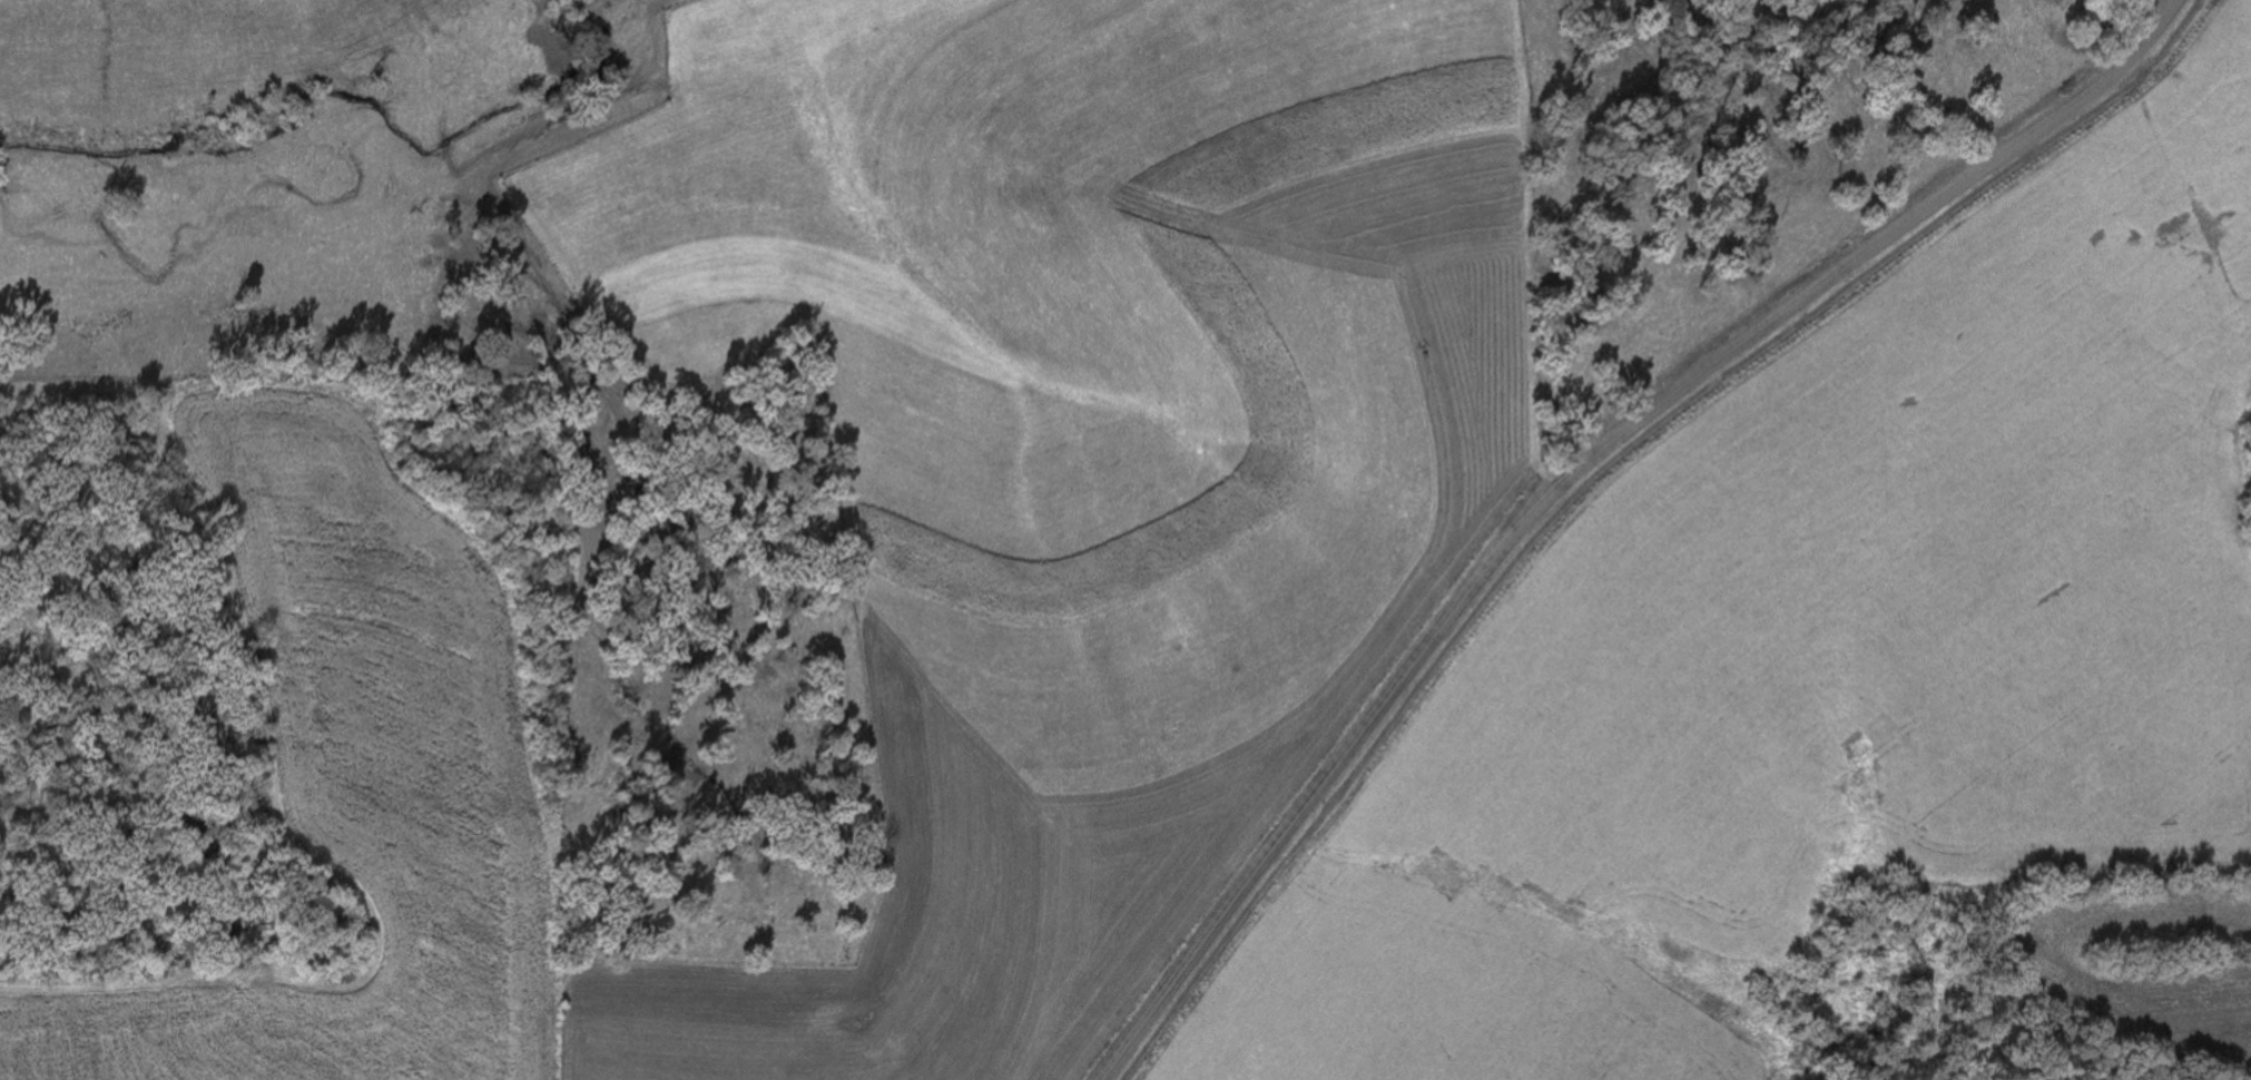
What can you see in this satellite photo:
road: (1575, 472)

